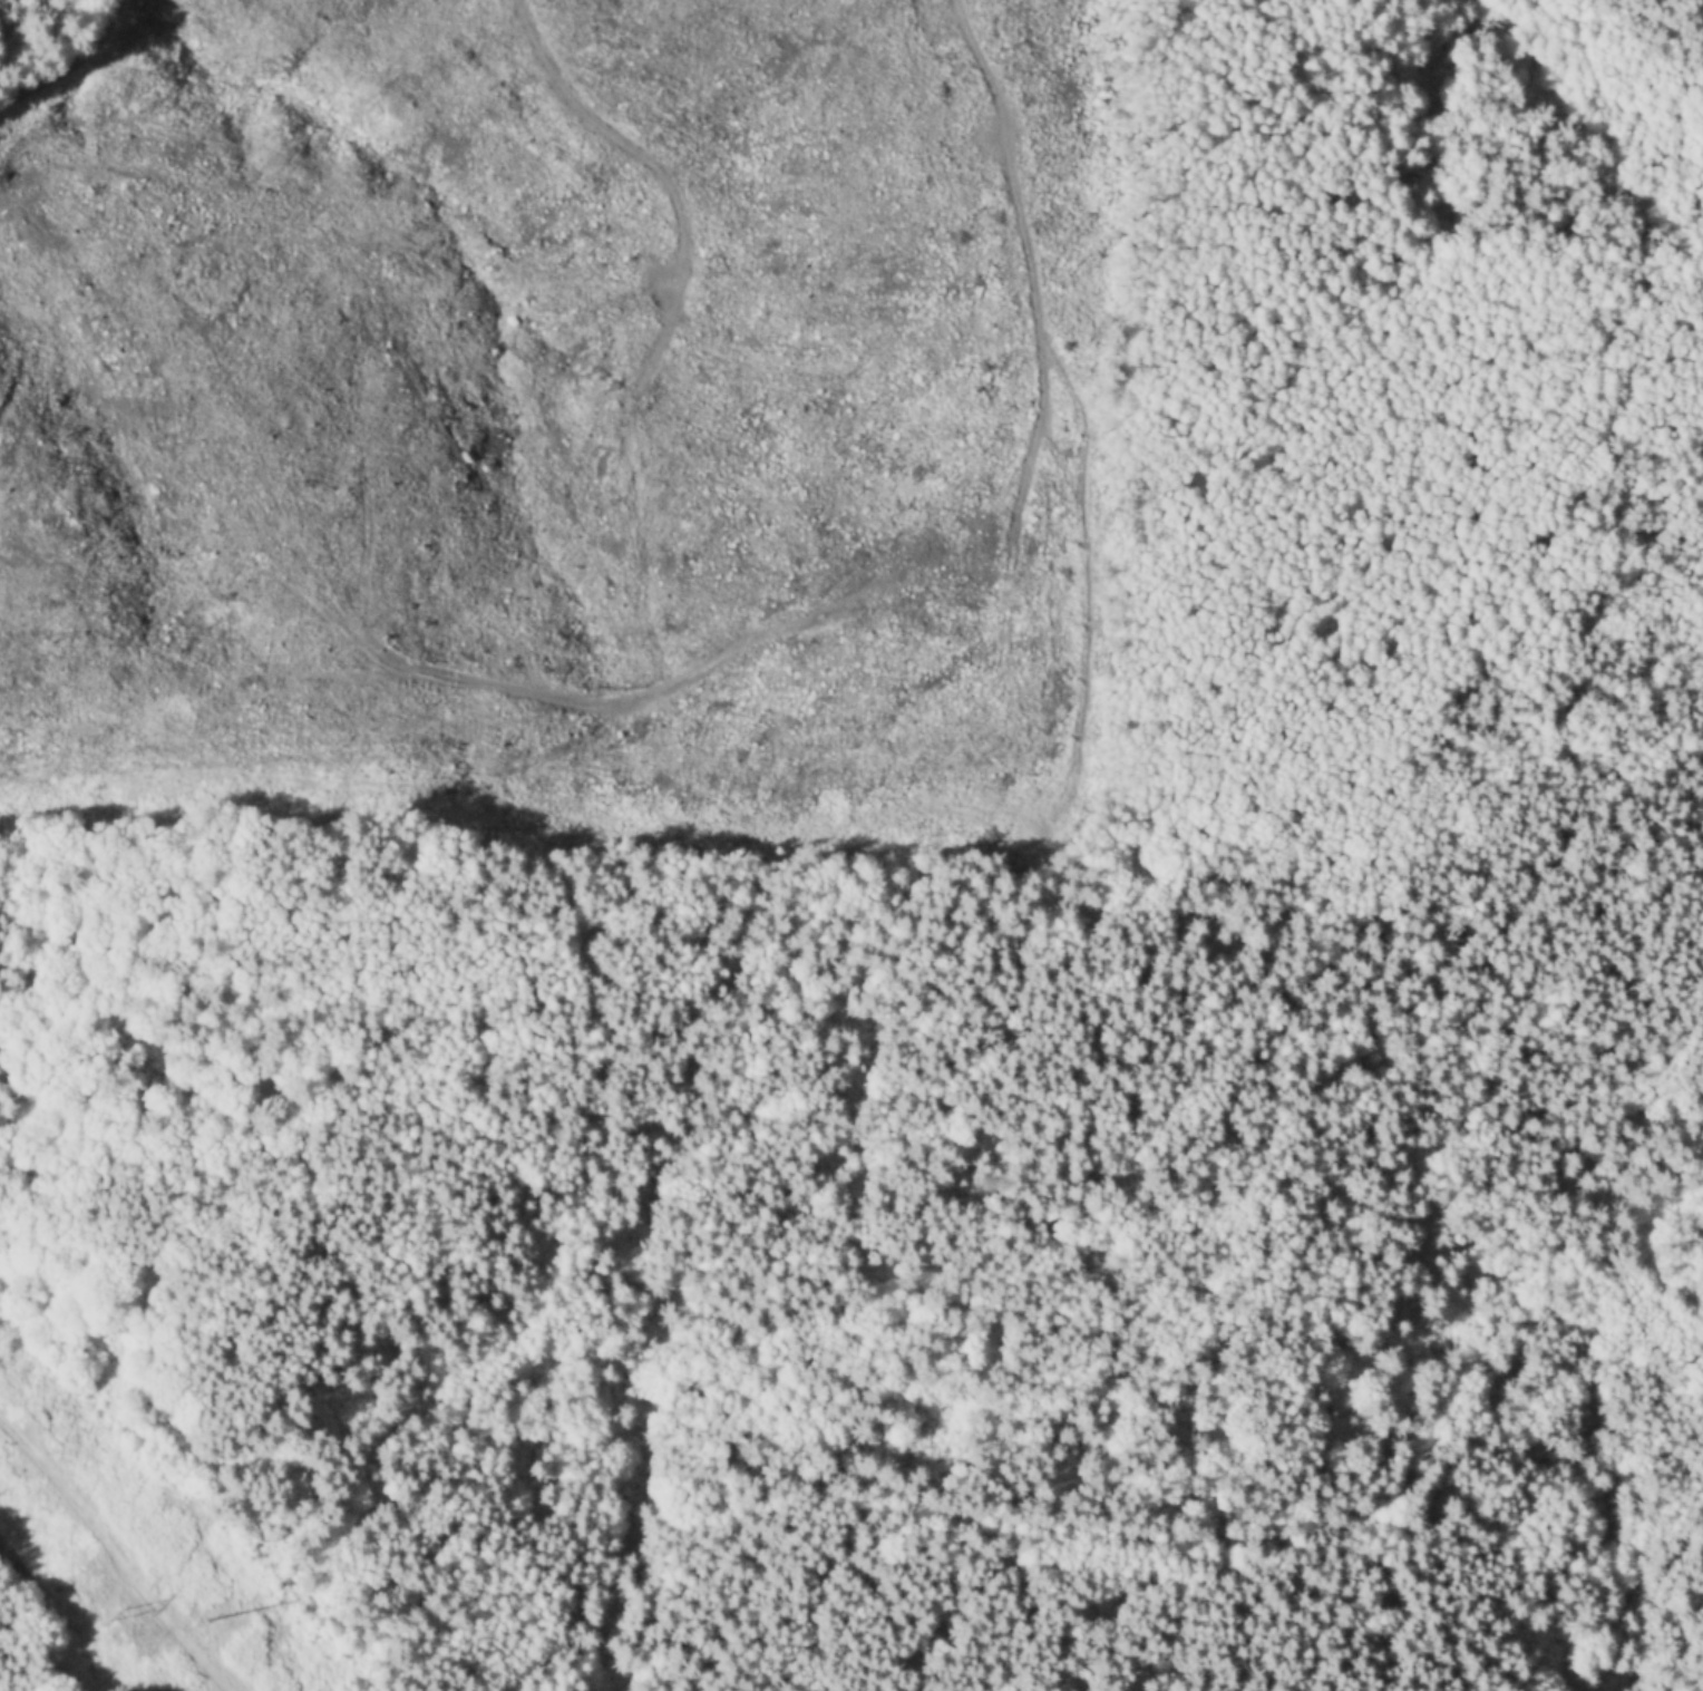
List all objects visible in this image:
power tower: (212, 1611)
power tower: (111, 1613)

